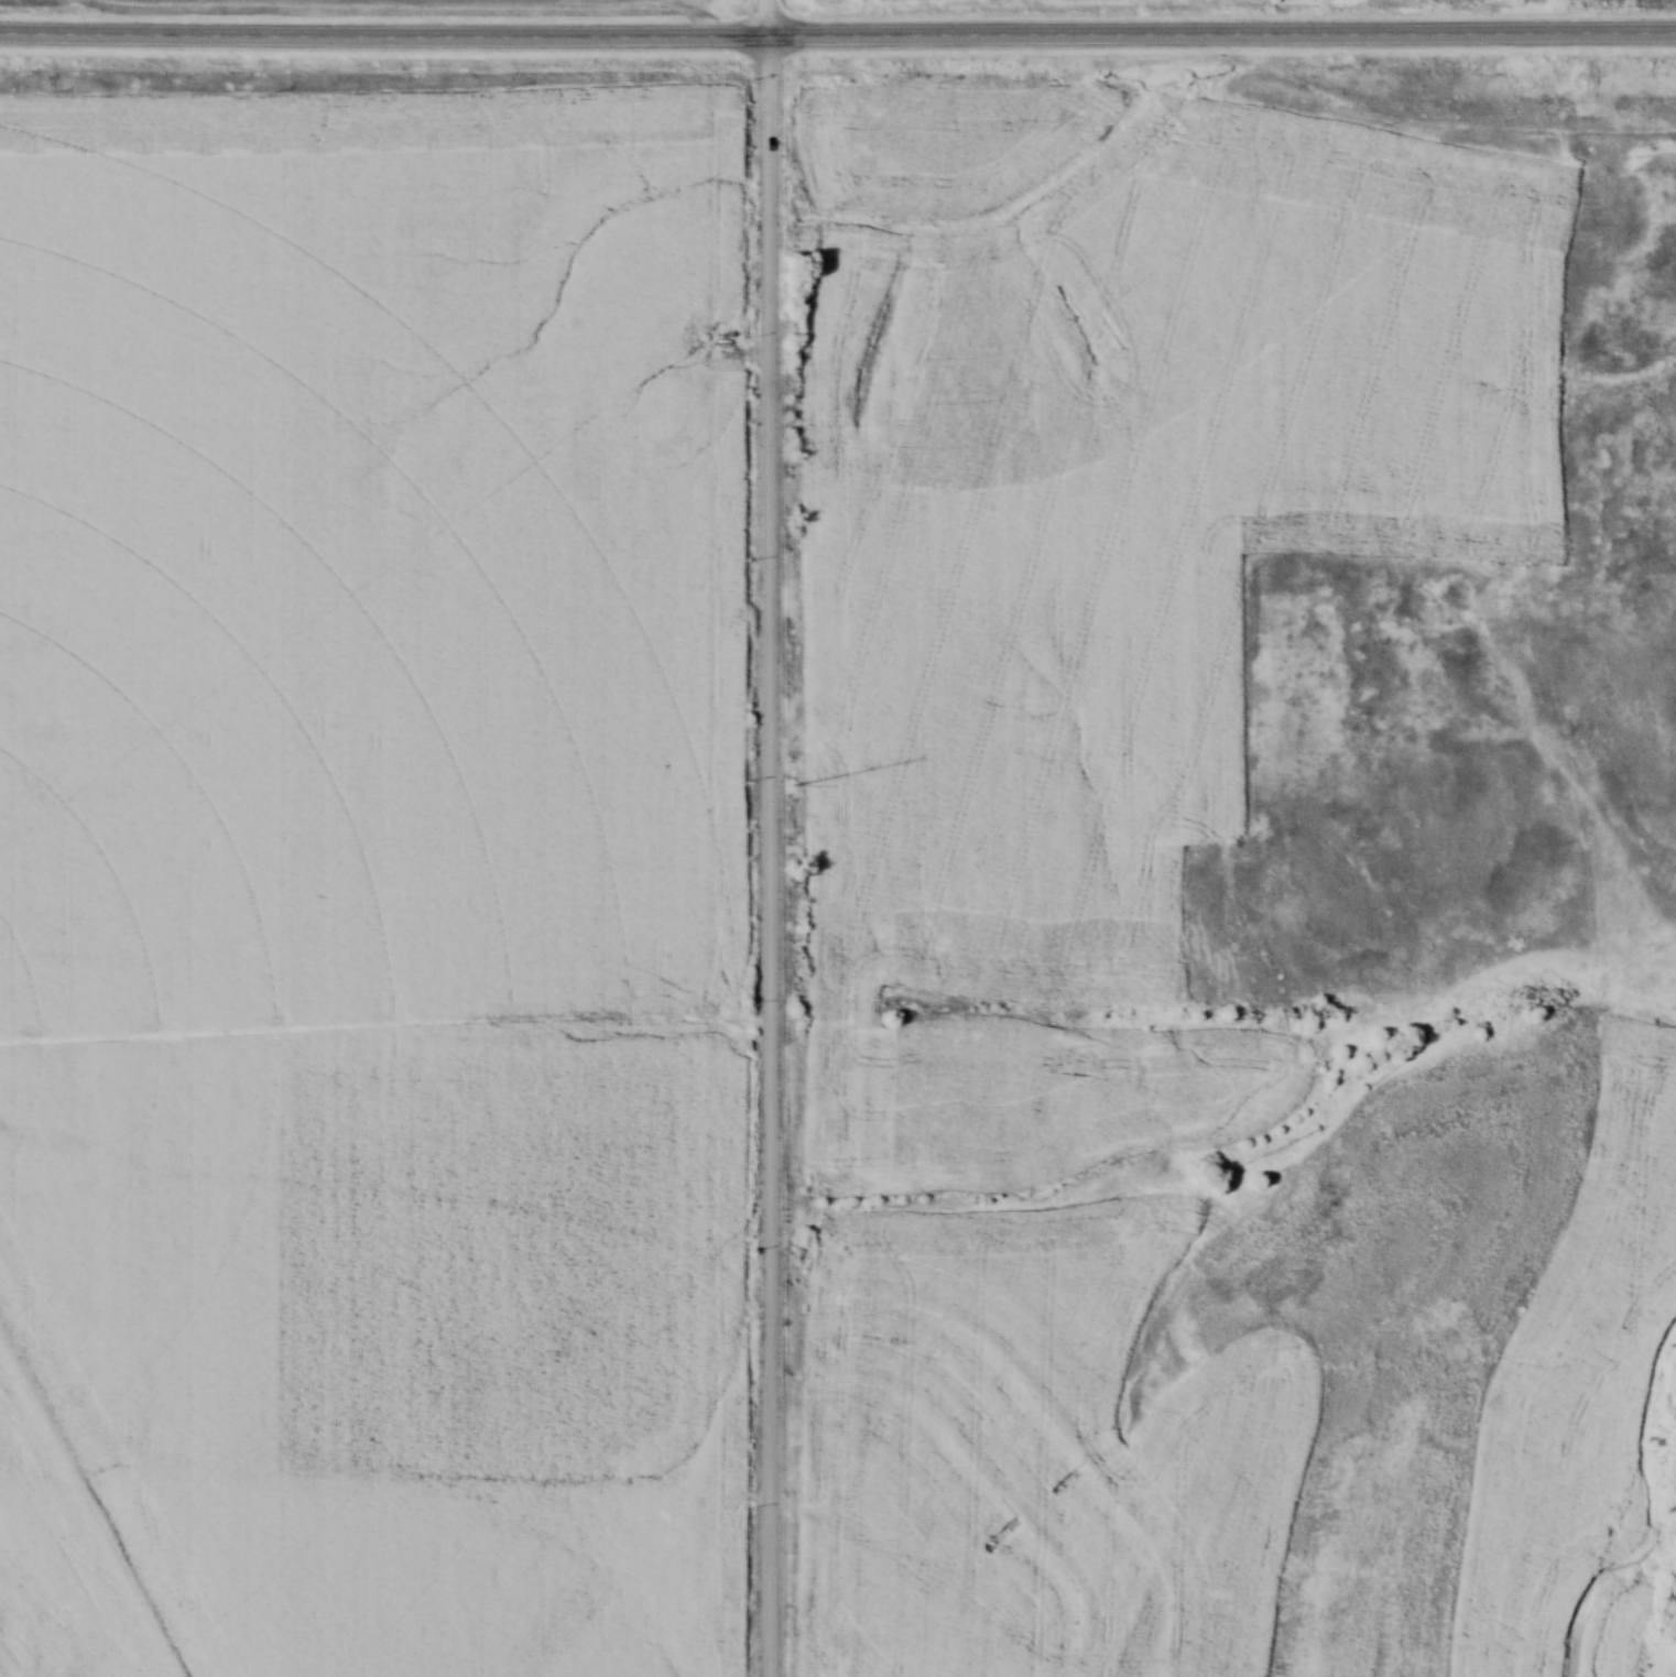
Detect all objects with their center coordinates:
road: (837, 33)
road: (771, 838)

